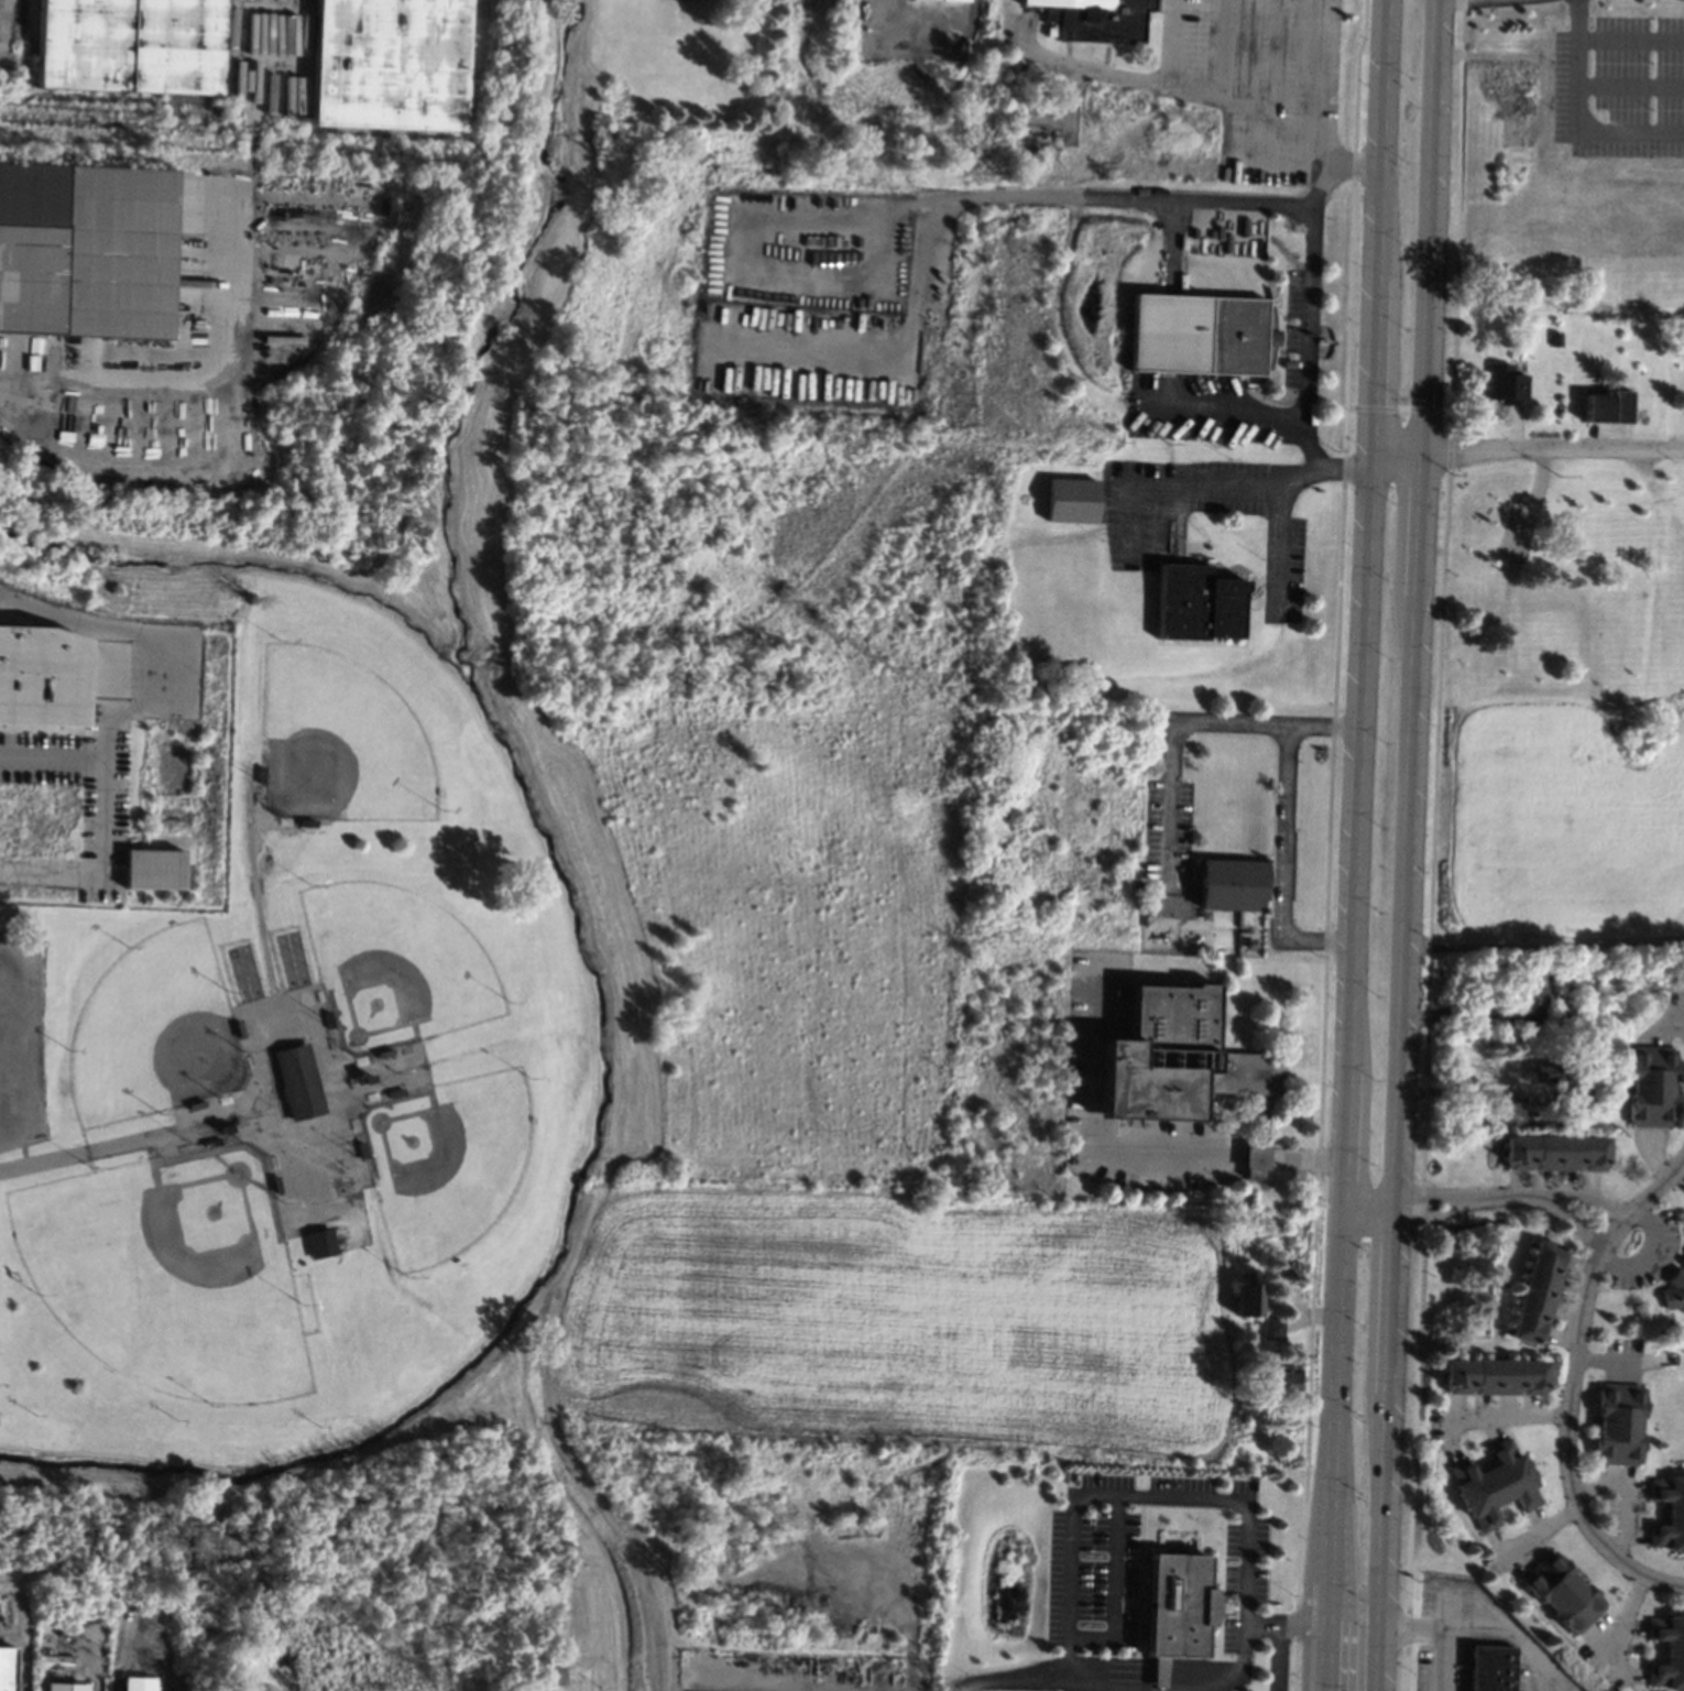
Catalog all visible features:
building: (1096, 19)
road: (1630, 39)
building: (130, 45)
building: (389, 64)
road: (1576, 65)
railway: (1, 67)
road: (1312, 75)
road: (1630, 86)
parking lot: (1619, 87)
road: (1222, 95)
road: (1629, 131)
road: (1122, 198)
road: (1430, 226)
building: (85, 250)
road: (1309, 294)
building: (1200, 334)
building: (1554, 338)
building: (1505, 384)
road: (211, 397)
building: (1606, 405)
road: (1552, 447)
road: (1396, 460)
road: (1244, 481)
building: (1071, 499)
road: (1126, 517)
road: (1419, 523)
road: (1278, 546)
park: (1559, 582)
building: (1196, 602)
building: (40, 676)
road: (153, 691)
road: (1360, 714)
park: (340, 742)
road: (54, 746)
road: (1169, 748)
road: (1279, 798)
crop: (1554, 819)
building: (152, 868)
road: (52, 873)
building: (1232, 883)
road: (1404, 898)
building: (1168, 905)
road: (1322, 940)
building: (1248, 943)
road: (1543, 948)
park: (394, 969)
building: (1530, 997)
building: (1593, 1014)
park: (153, 1030)
road: (9, 1039)
parking lot: (21, 1041)
building: (1173, 1058)
building: (1546, 1072)
building: (297, 1081)
building: (1650, 1084)
building: (1582, 1093)
road: (1169, 1148)
building: (1553, 1152)
road: (1255, 1153)
road: (1306, 1155)
building: (1254, 1159)
park: (445, 1161)
road: (1586, 1197)
road: (1468, 1198)
road: (1368, 1202)
road: (1641, 1202)
road: (1571, 1221)
building: (318, 1243)
building: (1683, 1251)
road: (1645, 1256)
building: (1295, 1272)
park: (171, 1274)
building: (1673, 1289)
building: (1535, 1291)
road: (1390, 1297)
building: (1248, 1299)
crop: (898, 1323)
building: (1250, 1325)
building: (1272, 1327)
building: (1494, 1375)
building: (1282, 1376)
road: (1507, 1416)
building: (1619, 1422)
road: (1567, 1443)
building: (1495, 1484)
road: (1152, 1494)
road: (1330, 1505)
building: (1669, 1512)
road: (1315, 1526)
road: (1542, 1530)
road: (1380, 1541)
parking lot: (1091, 1561)
road: (1113, 1589)
building: (1563, 1591)
road: (1327, 1603)
building: (1175, 1605)
road: (916, 1608)
road: (1261, 1623)
road: (1292, 1624)
road: (1315, 1625)
road: (1413, 1629)
road: (1488, 1632)
parking lot: (1441, 1633)
building: (1669, 1651)
road: (1277, 1657)
road: (1304, 1658)
road: (1325, 1658)
building: (6, 1668)
building: (1492, 1668)
building: (550, 1672)
road: (1152, 1673)
road: (1008, 1678)
building: (136, 1683)
parking lot: (1082, 1684)
parking lot: (1226, 1685)
building: (64, 1687)

